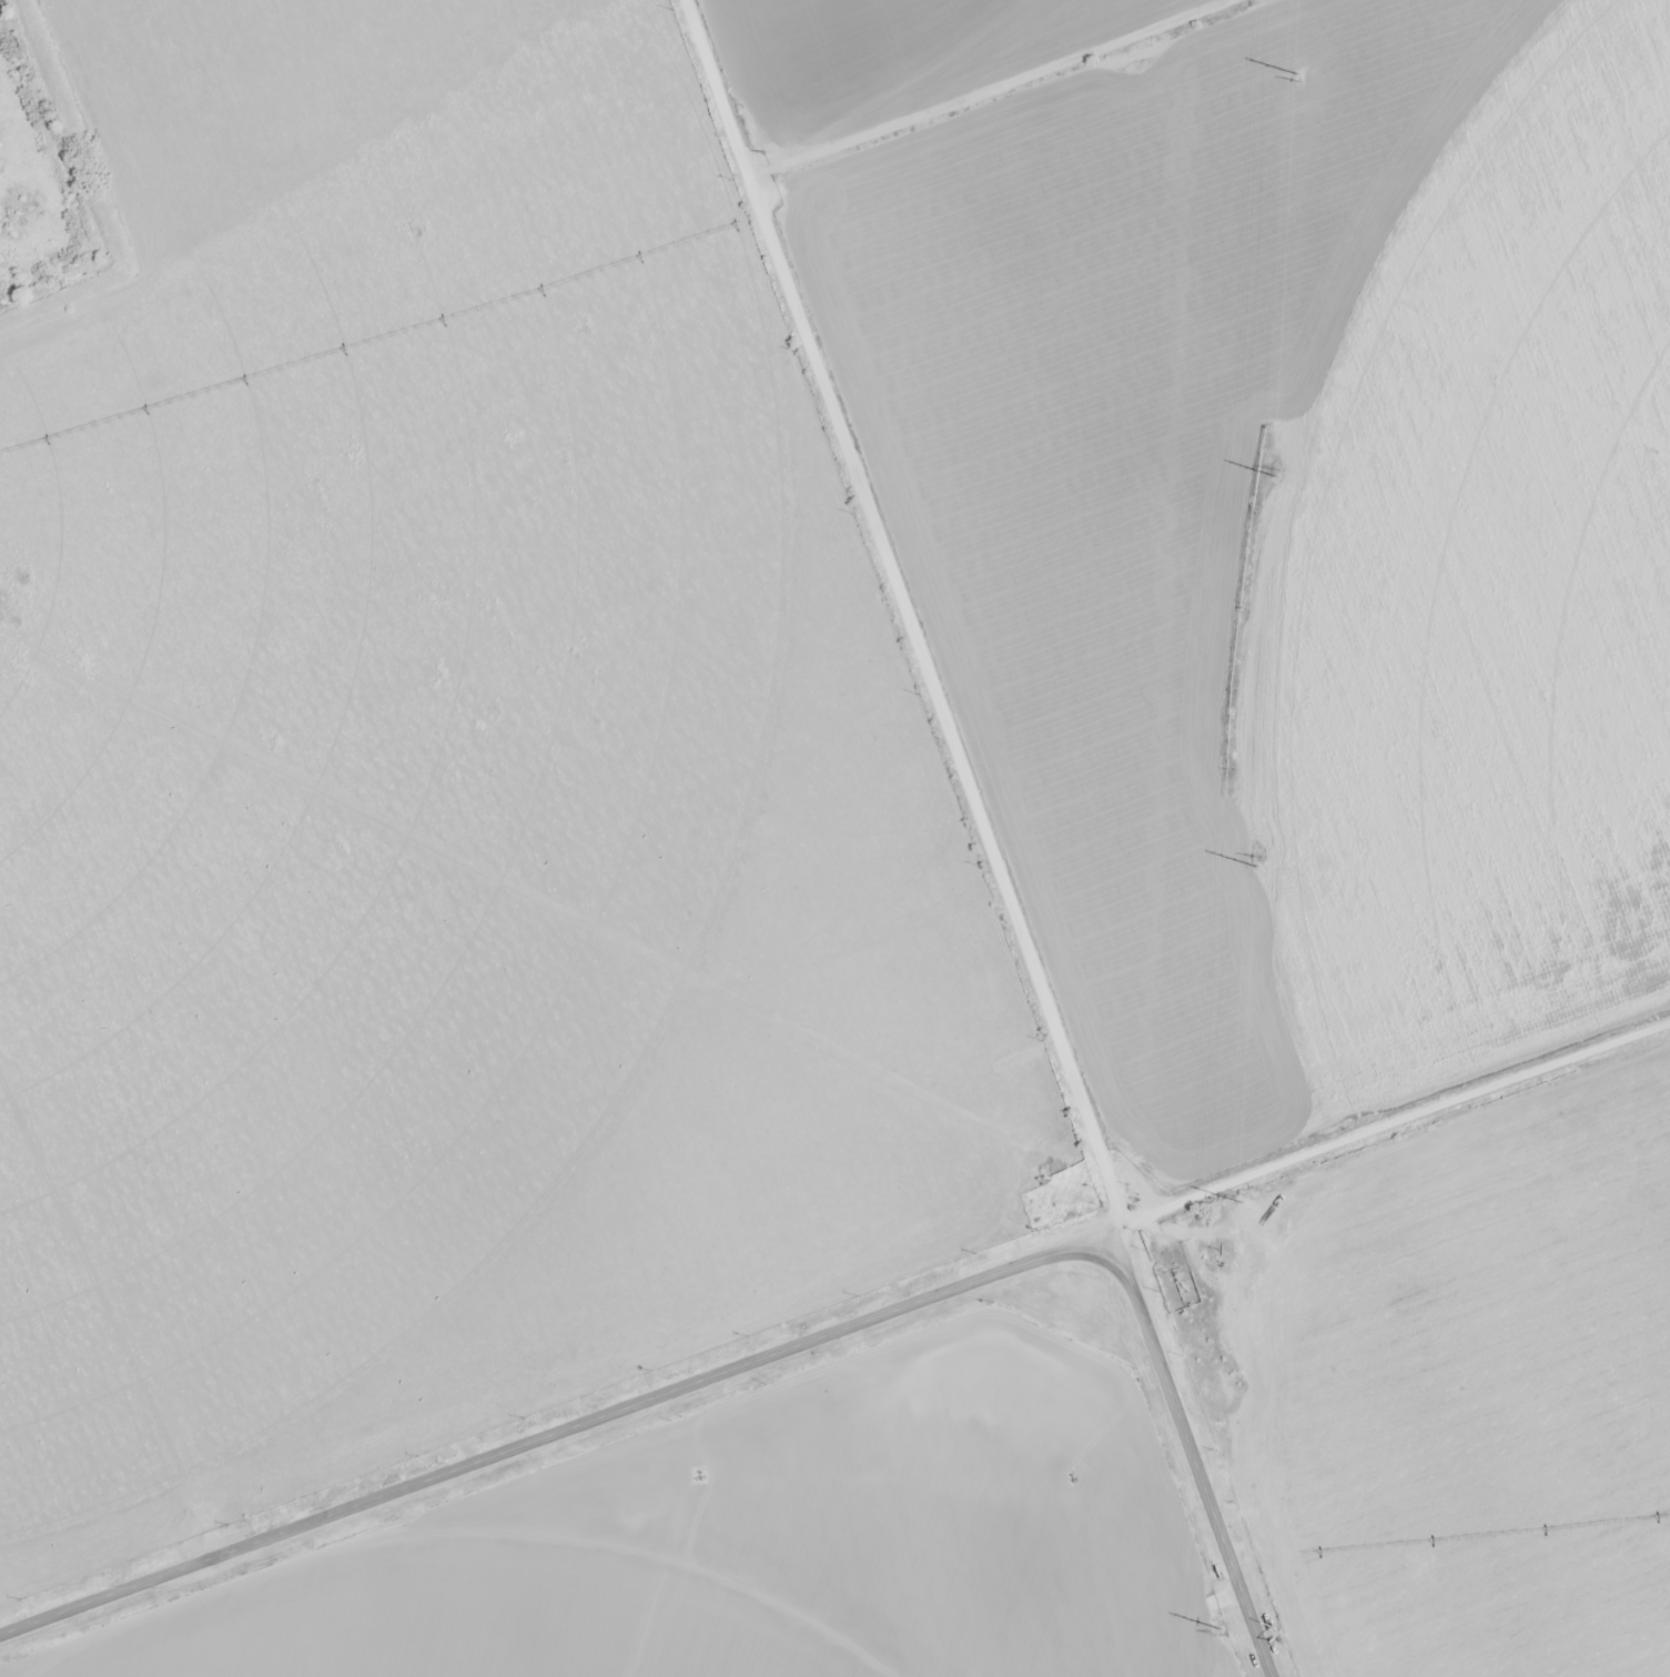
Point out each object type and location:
power tower: (1296, 80)
power tower: (1276, 469)
road: (911, 629)
power tower: (1257, 857)
road: (1380, 1123)
power tower: (1242, 1196)
road: (768, 1355)
power tower: (1222, 1636)

